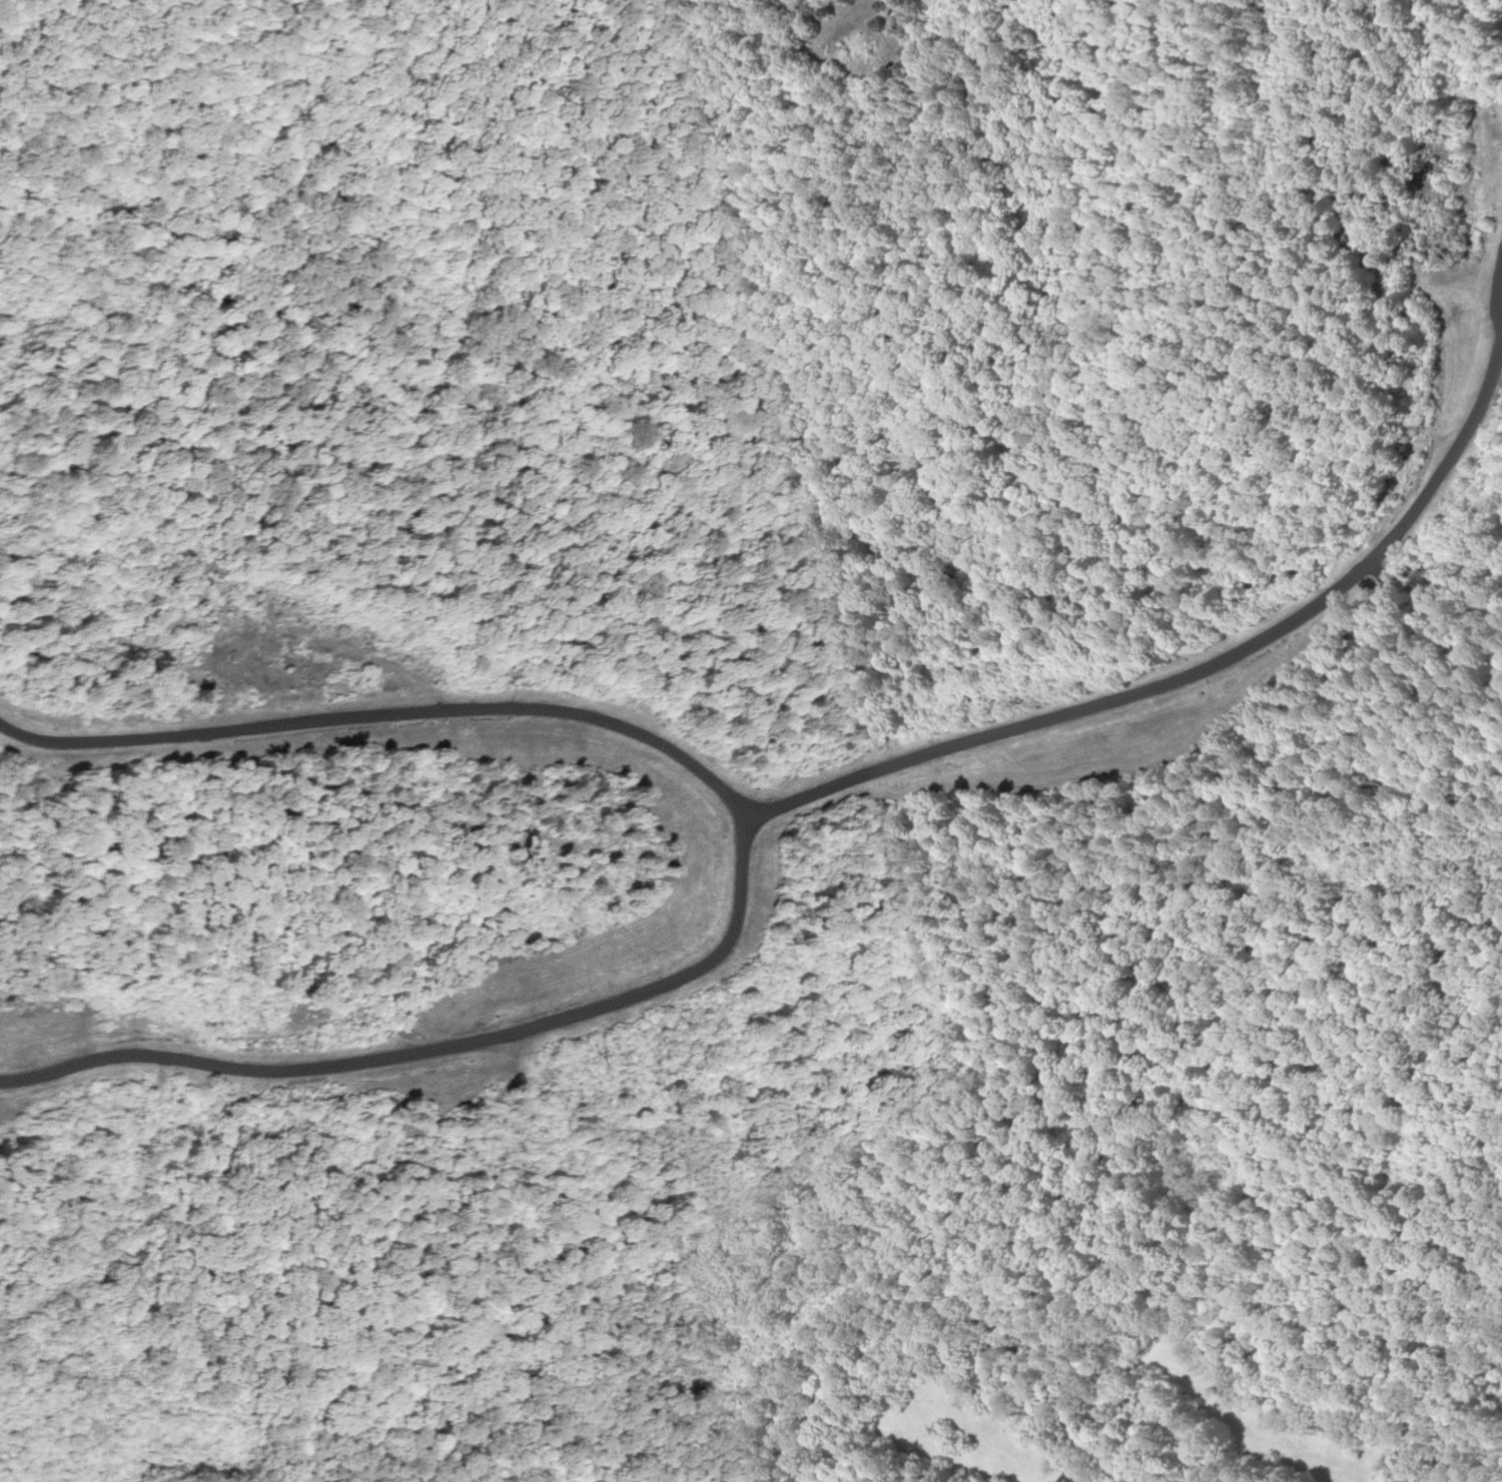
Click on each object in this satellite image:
road: (253, 1233)

